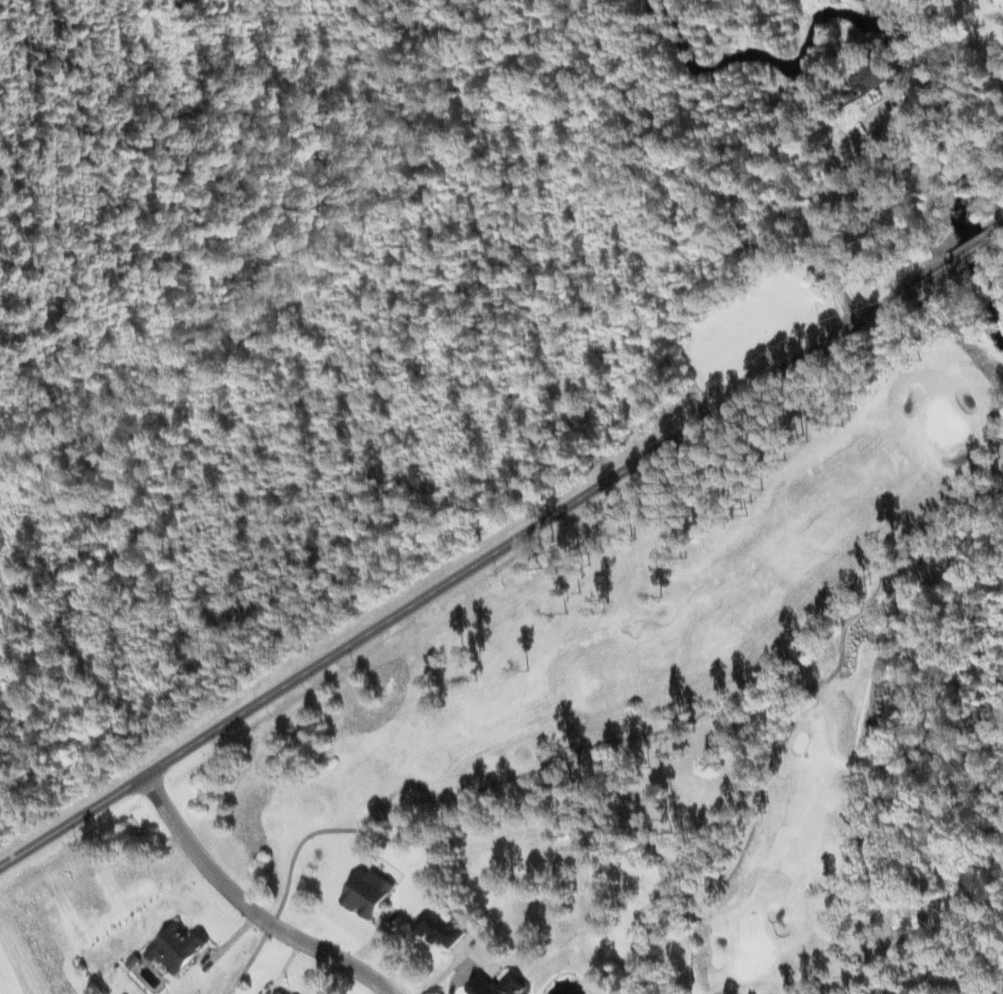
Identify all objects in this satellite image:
dam: (877, 51)
building: (883, 68)
road: (497, 536)
park: (712, 698)
building: (368, 892)
road: (249, 901)
building: (441, 926)
building: (177, 948)
building: (512, 980)
building: (279, 992)

